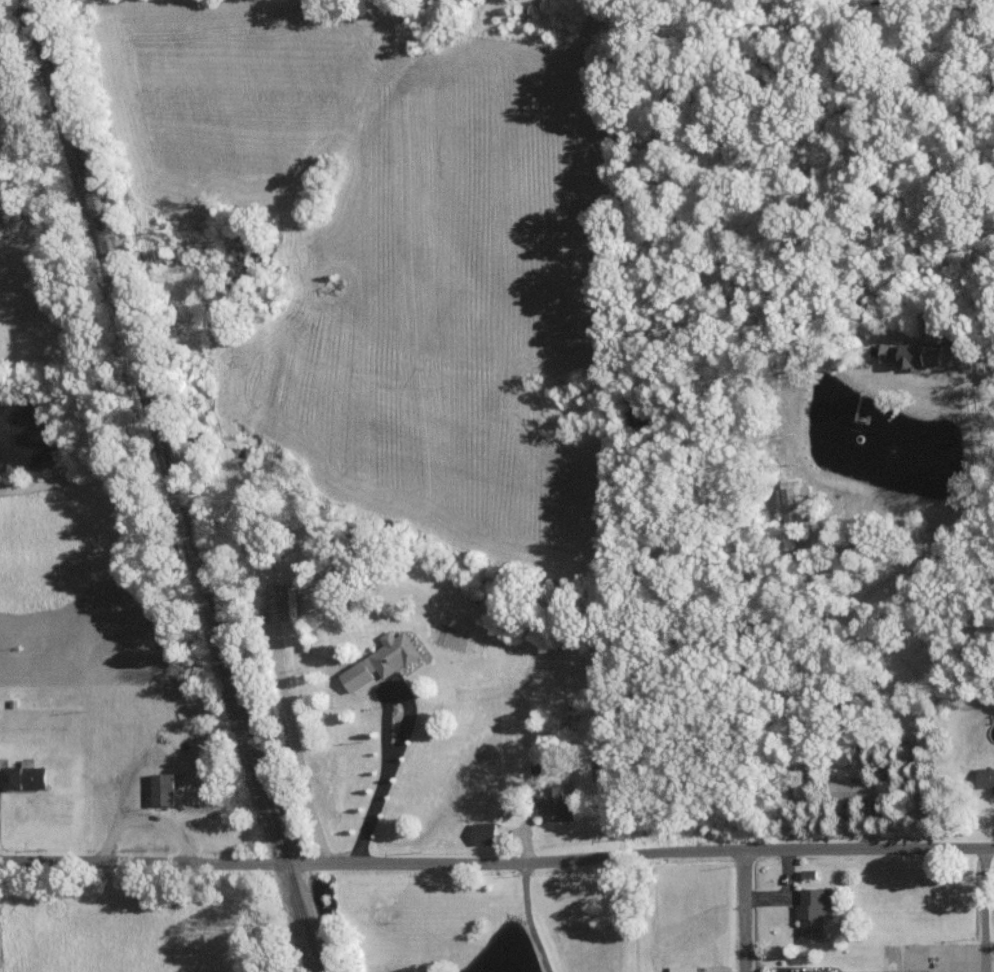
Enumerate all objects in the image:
building: (914, 352)
railway: (182, 485)
building: (792, 502)
building: (282, 602)
building: (381, 661)
road: (398, 746)
building: (24, 777)
building: (986, 777)
building: (163, 789)
building: (854, 790)
building: (556, 804)
building: (483, 833)
road: (497, 868)
road: (743, 913)
building: (813, 913)
road: (984, 913)
road: (529, 921)
building: (683, 968)
building: (820, 970)

